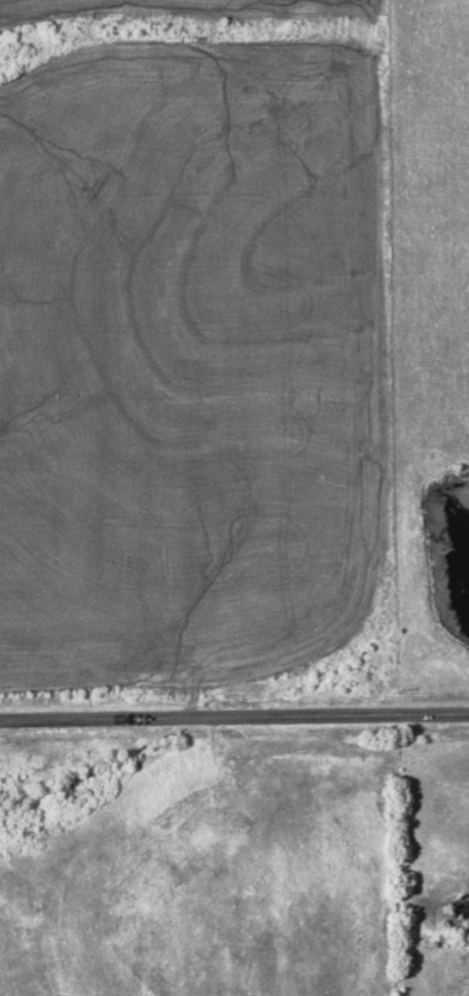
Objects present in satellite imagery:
road: (234, 715)

